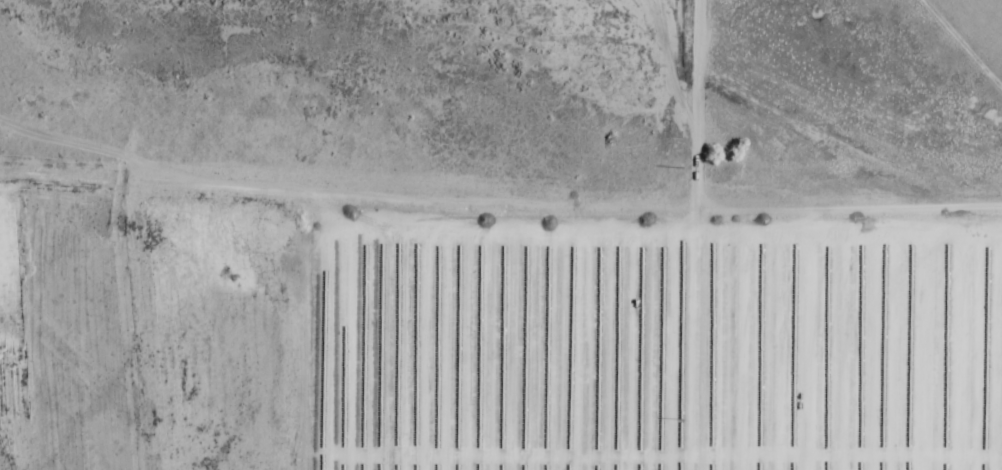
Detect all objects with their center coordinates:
power tower: (682, 167)
power tower: (681, 419)

